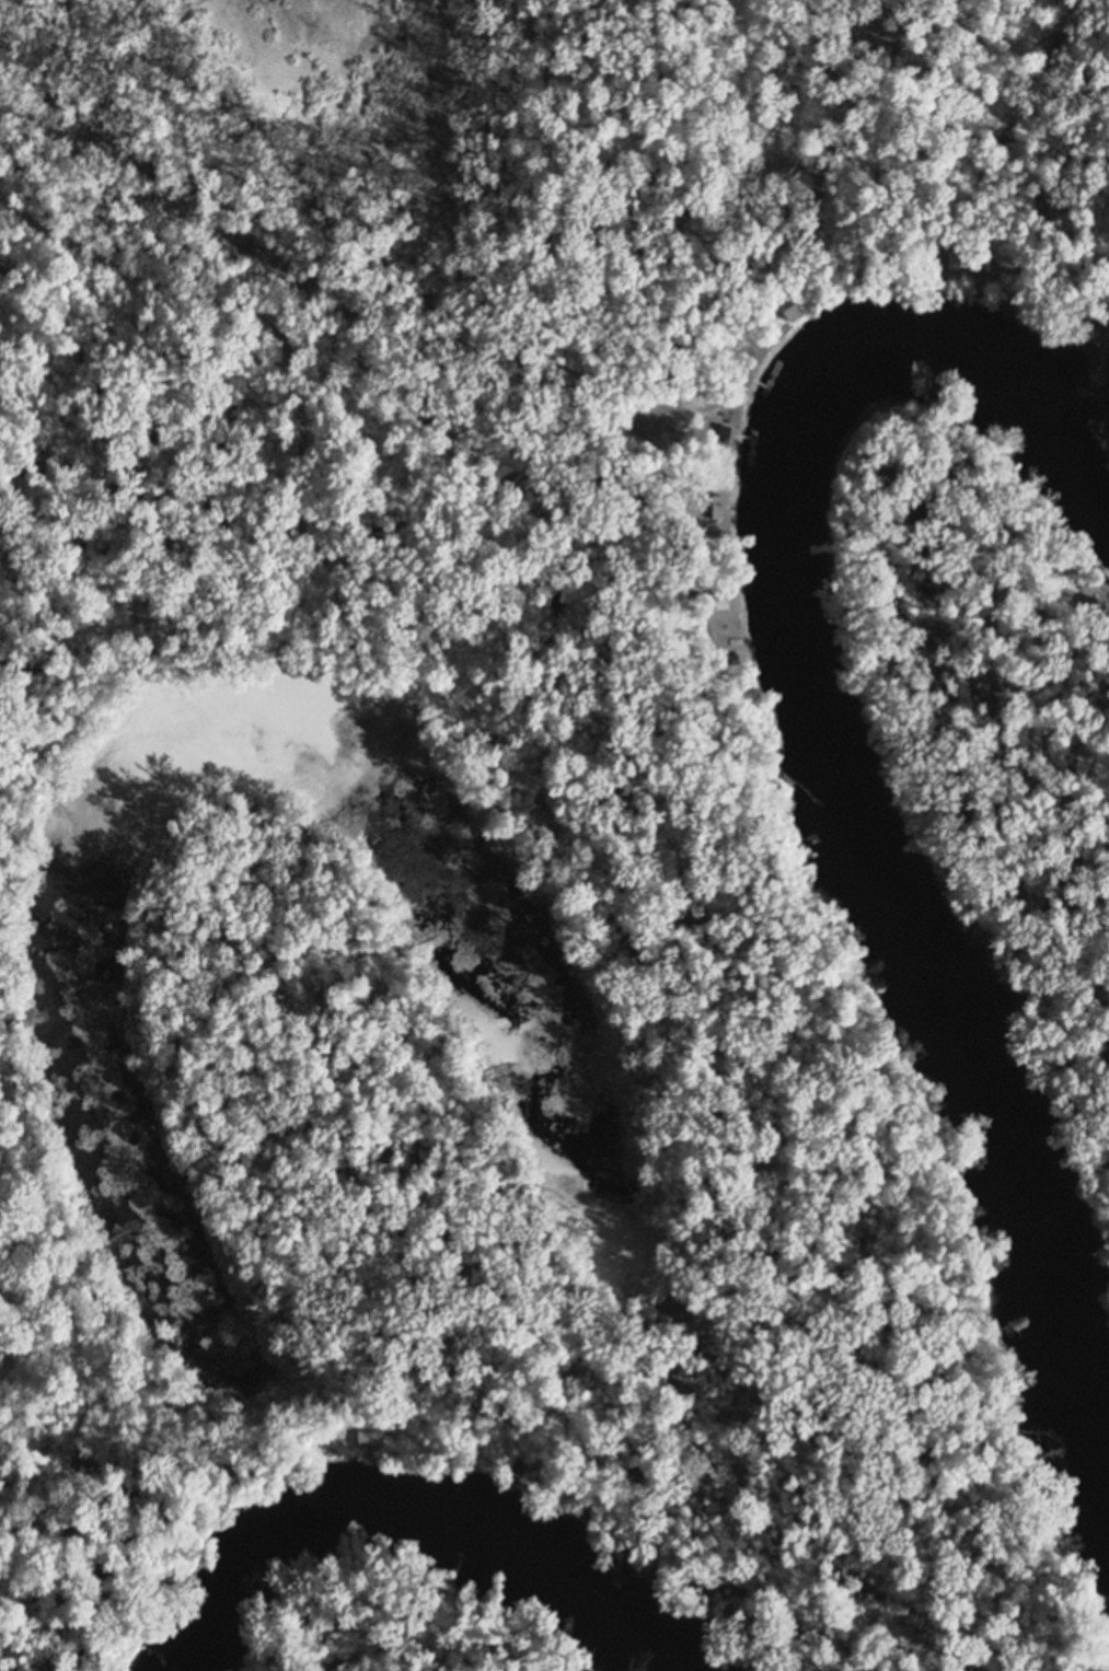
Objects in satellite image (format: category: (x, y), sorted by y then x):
building: (955, 254)
building: (792, 306)
building: (740, 363)
building: (729, 429)
building: (717, 502)
building: (720, 596)
building: (1089, 600)
building: (733, 654)
river: (840, 782)
building: (369, 1435)
building: (518, 1465)
building: (229, 1472)
building: (559, 1494)
building: (587, 1509)
river: (426, 1518)

